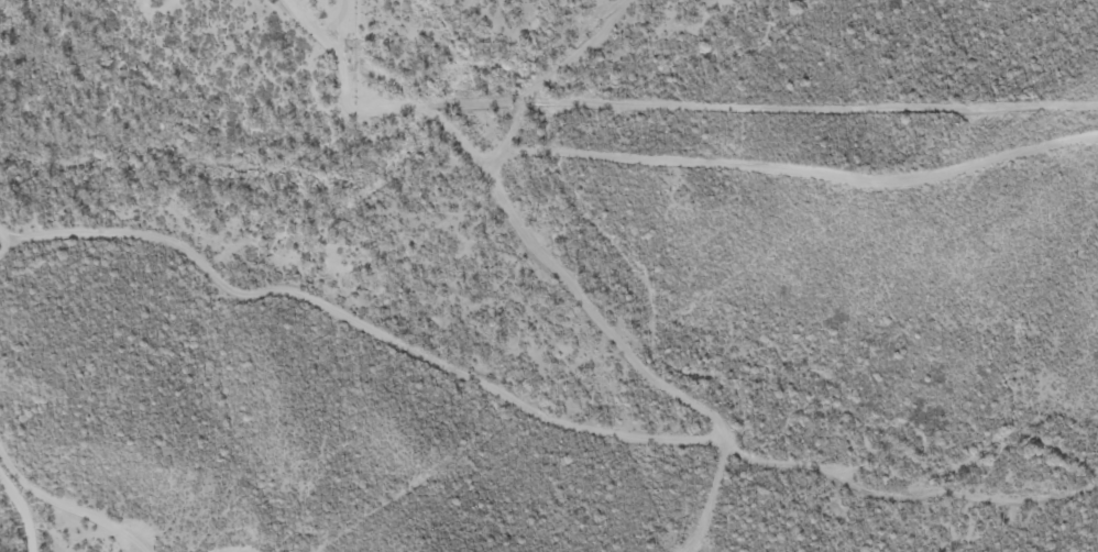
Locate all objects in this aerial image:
road: (370, 329)
road: (637, 357)
road: (711, 501)
road: (54, 518)
road: (35, 531)

